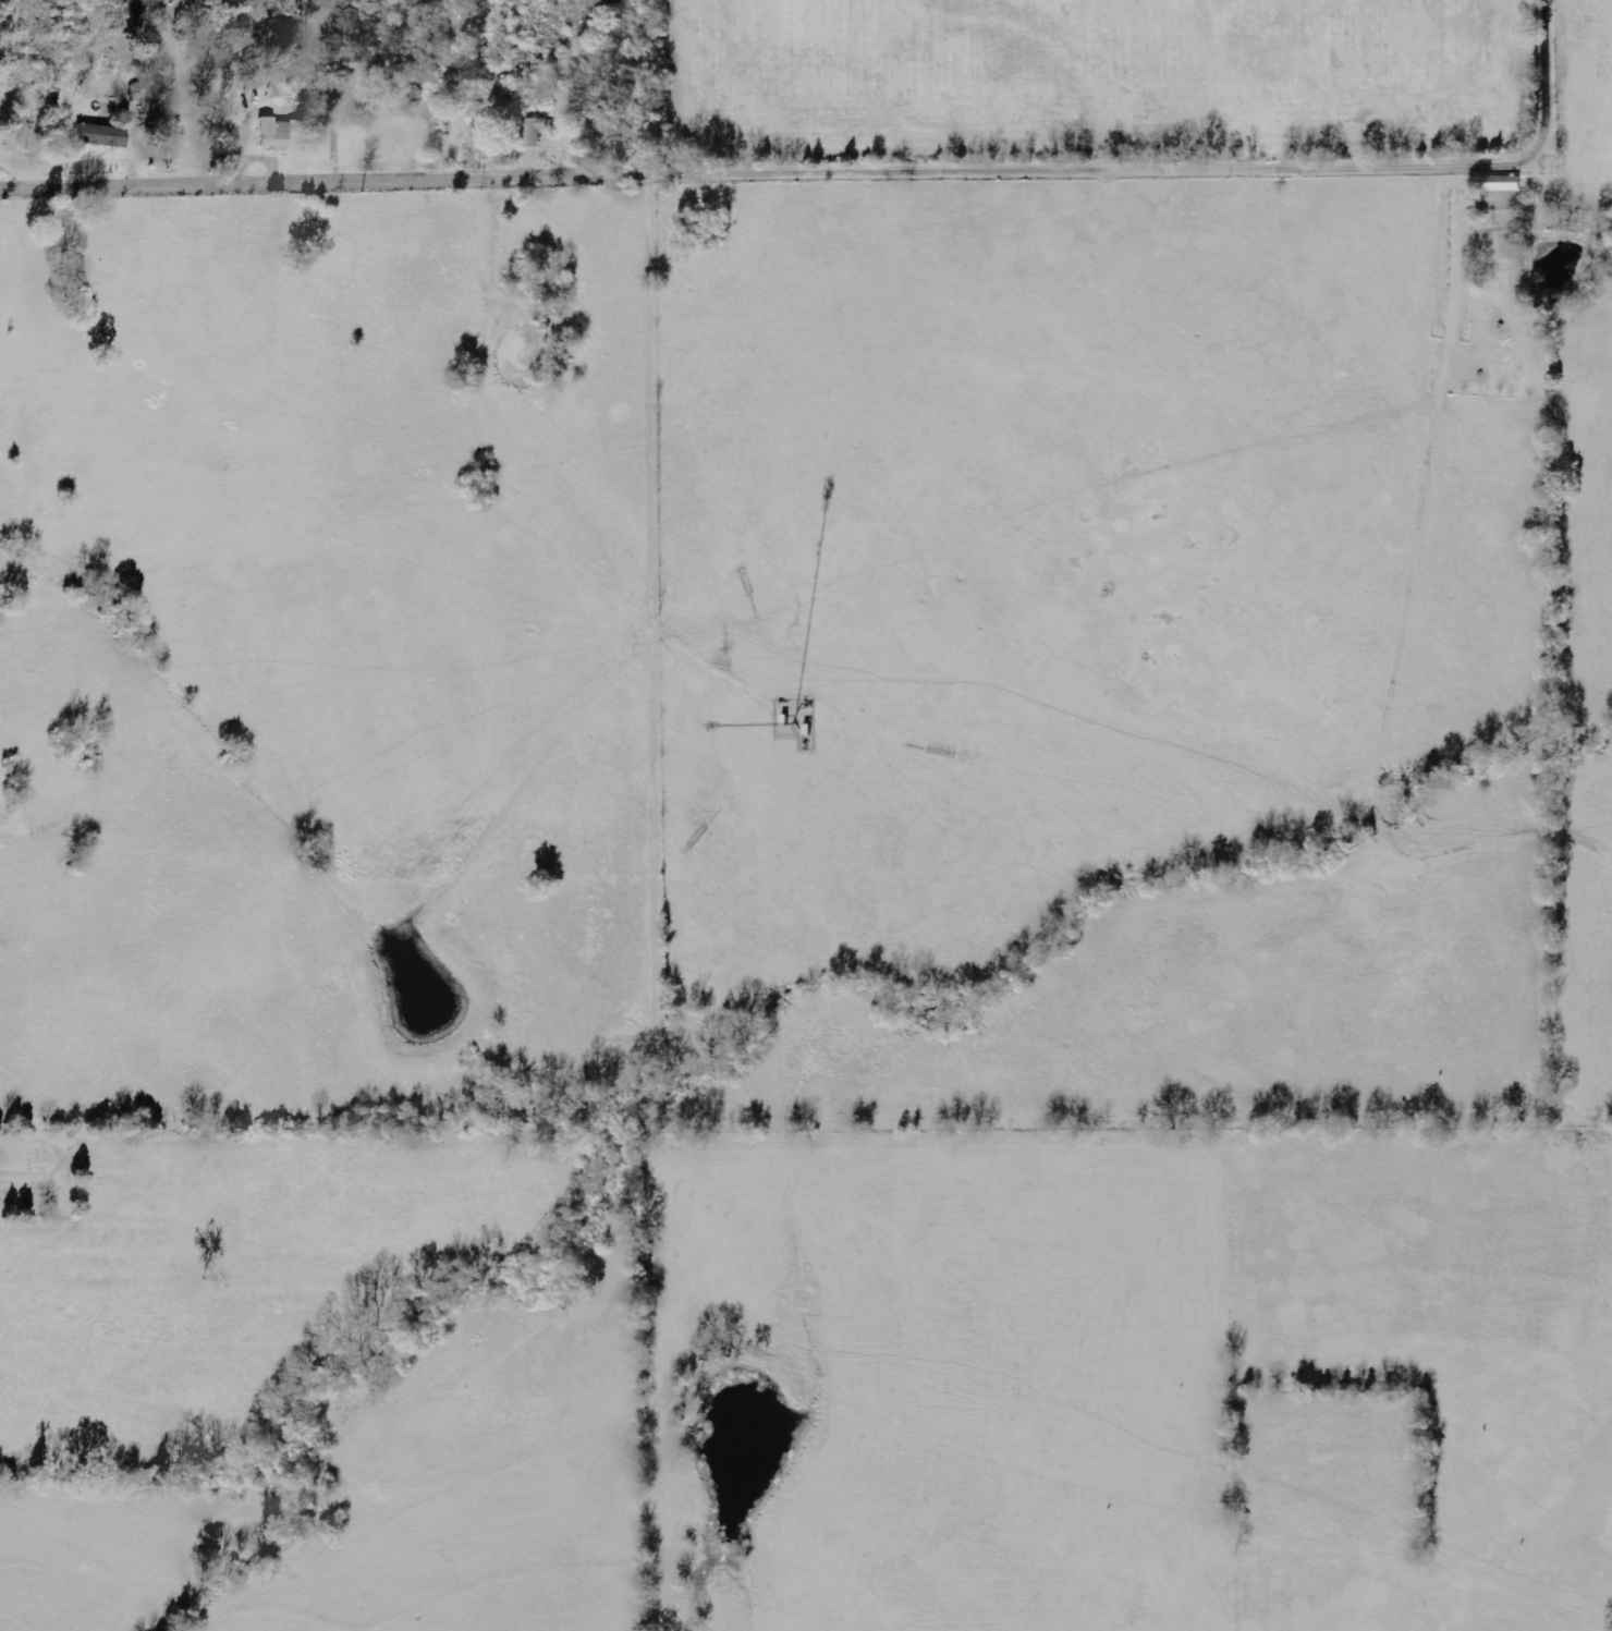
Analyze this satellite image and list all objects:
building: (535, 131)
building: (271, 134)
building: (98, 135)
road: (1263, 172)
road: (408, 184)

